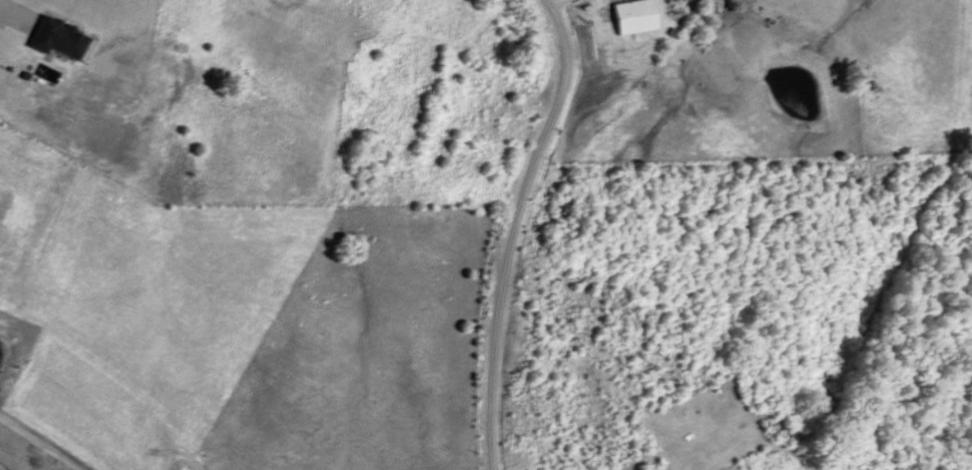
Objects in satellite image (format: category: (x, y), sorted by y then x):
building: (629, 16)
building: (58, 39)
road: (1, 469)

